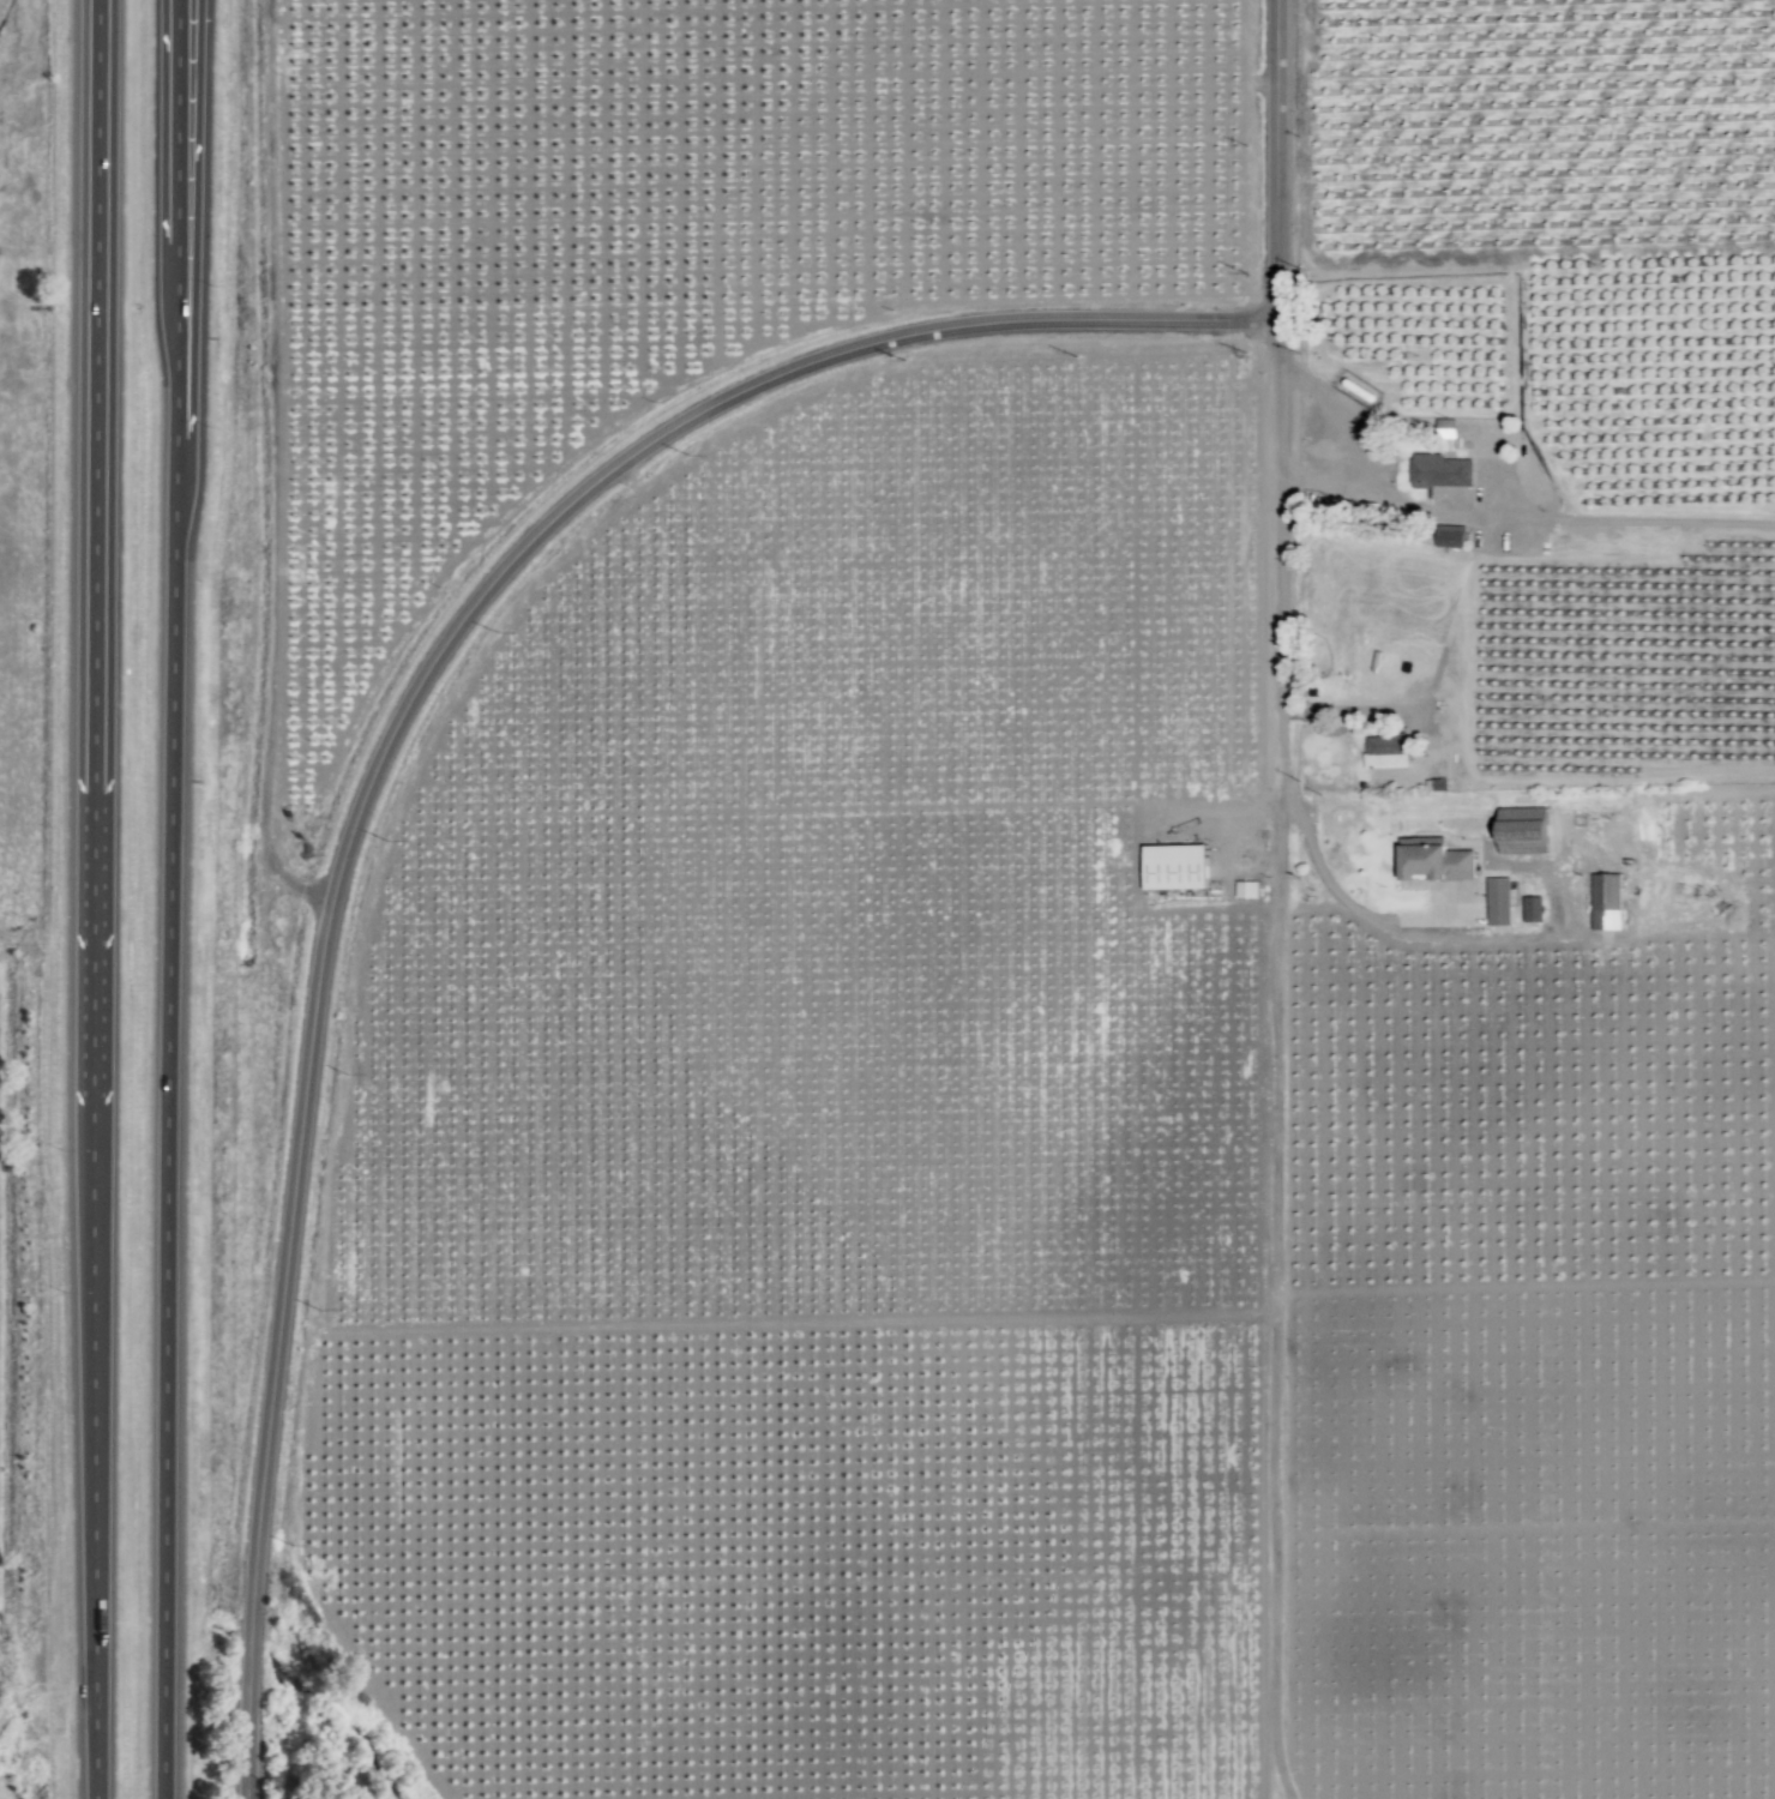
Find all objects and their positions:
road: (1275, 161)
road: (193, 240)
road: (100, 267)
road: (174, 289)
road: (1328, 441)
building: (1438, 470)
road: (1276, 535)
building: (1448, 536)
road: (401, 718)
building: (1384, 751)
building: (1521, 822)
building: (1431, 860)
building: (1171, 867)
building: (1244, 889)
building: (1497, 901)
building: (1603, 902)
building: (1530, 909)
road: (1362, 914)
road: (95, 1167)
road: (169, 1189)
road: (248, 1762)

